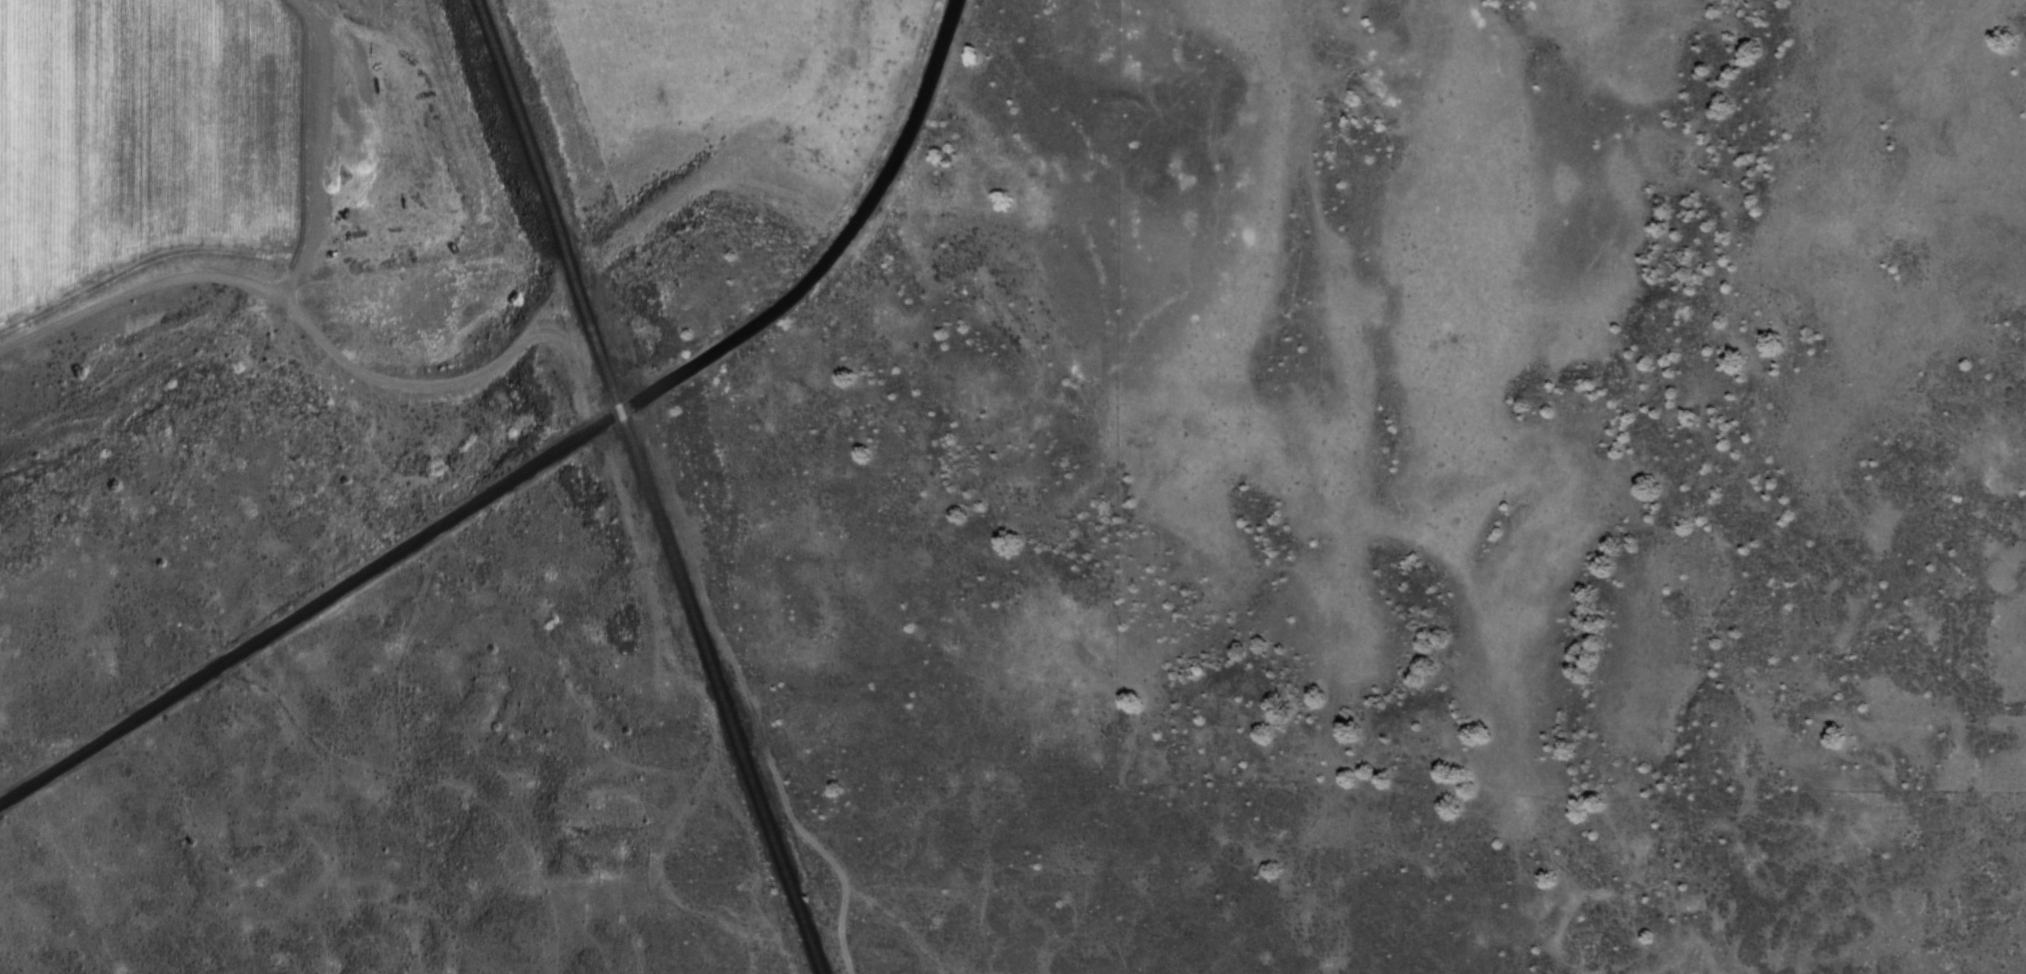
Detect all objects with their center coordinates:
crop: (142, 138)
road: (325, 341)
road: (543, 461)
railway: (645, 486)
road: (743, 692)

